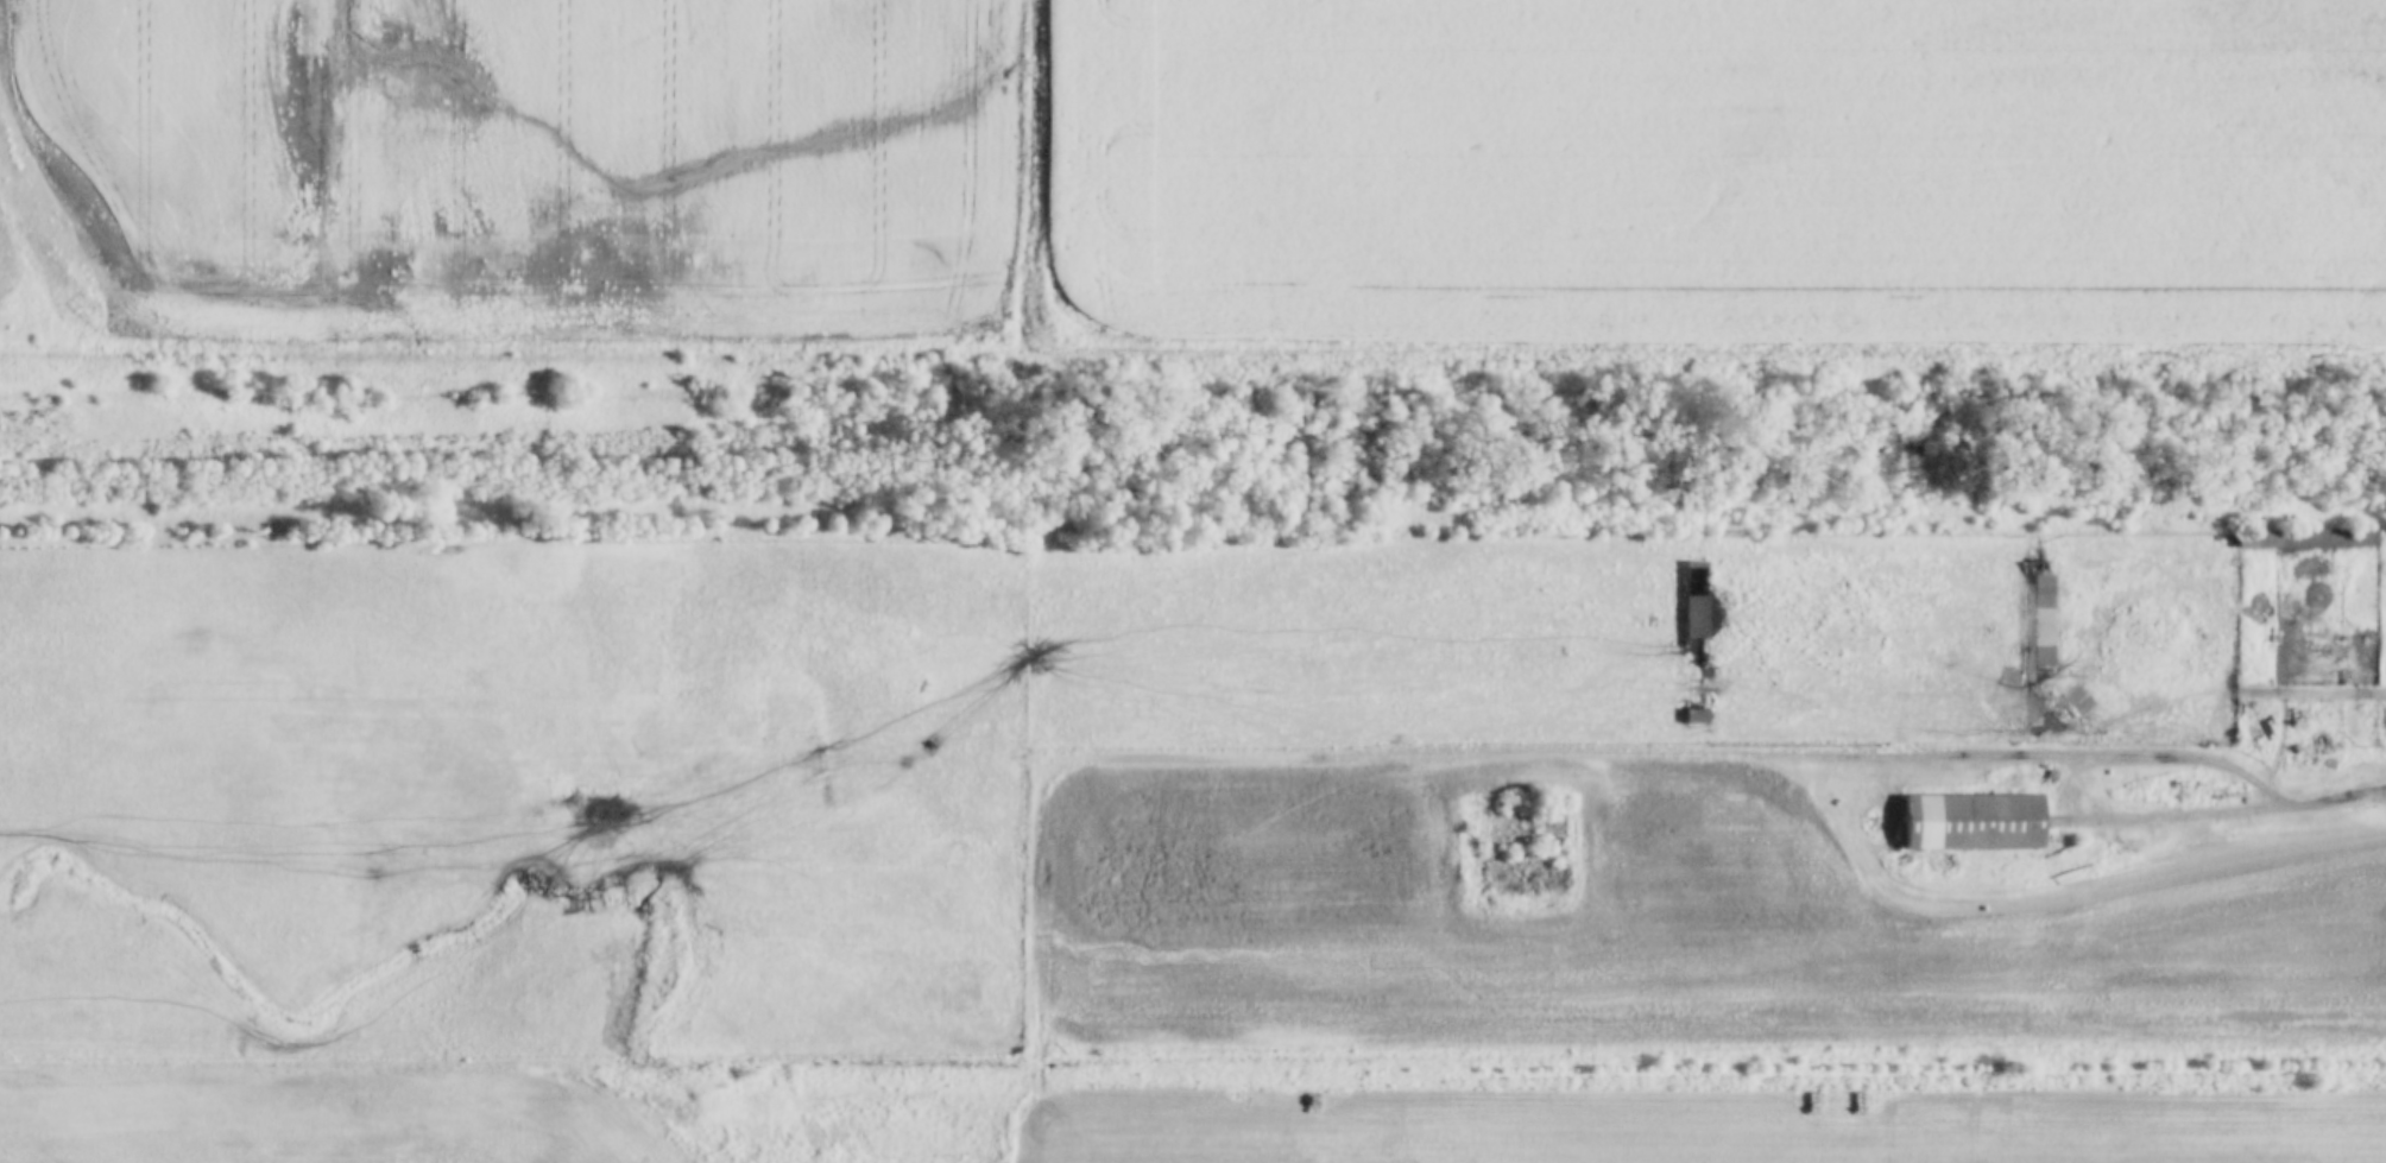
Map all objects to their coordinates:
building: (2310, 539)
building: (1693, 618)
building: (2031, 643)
building: (1693, 709)
road: (1899, 757)
building: (1971, 822)

